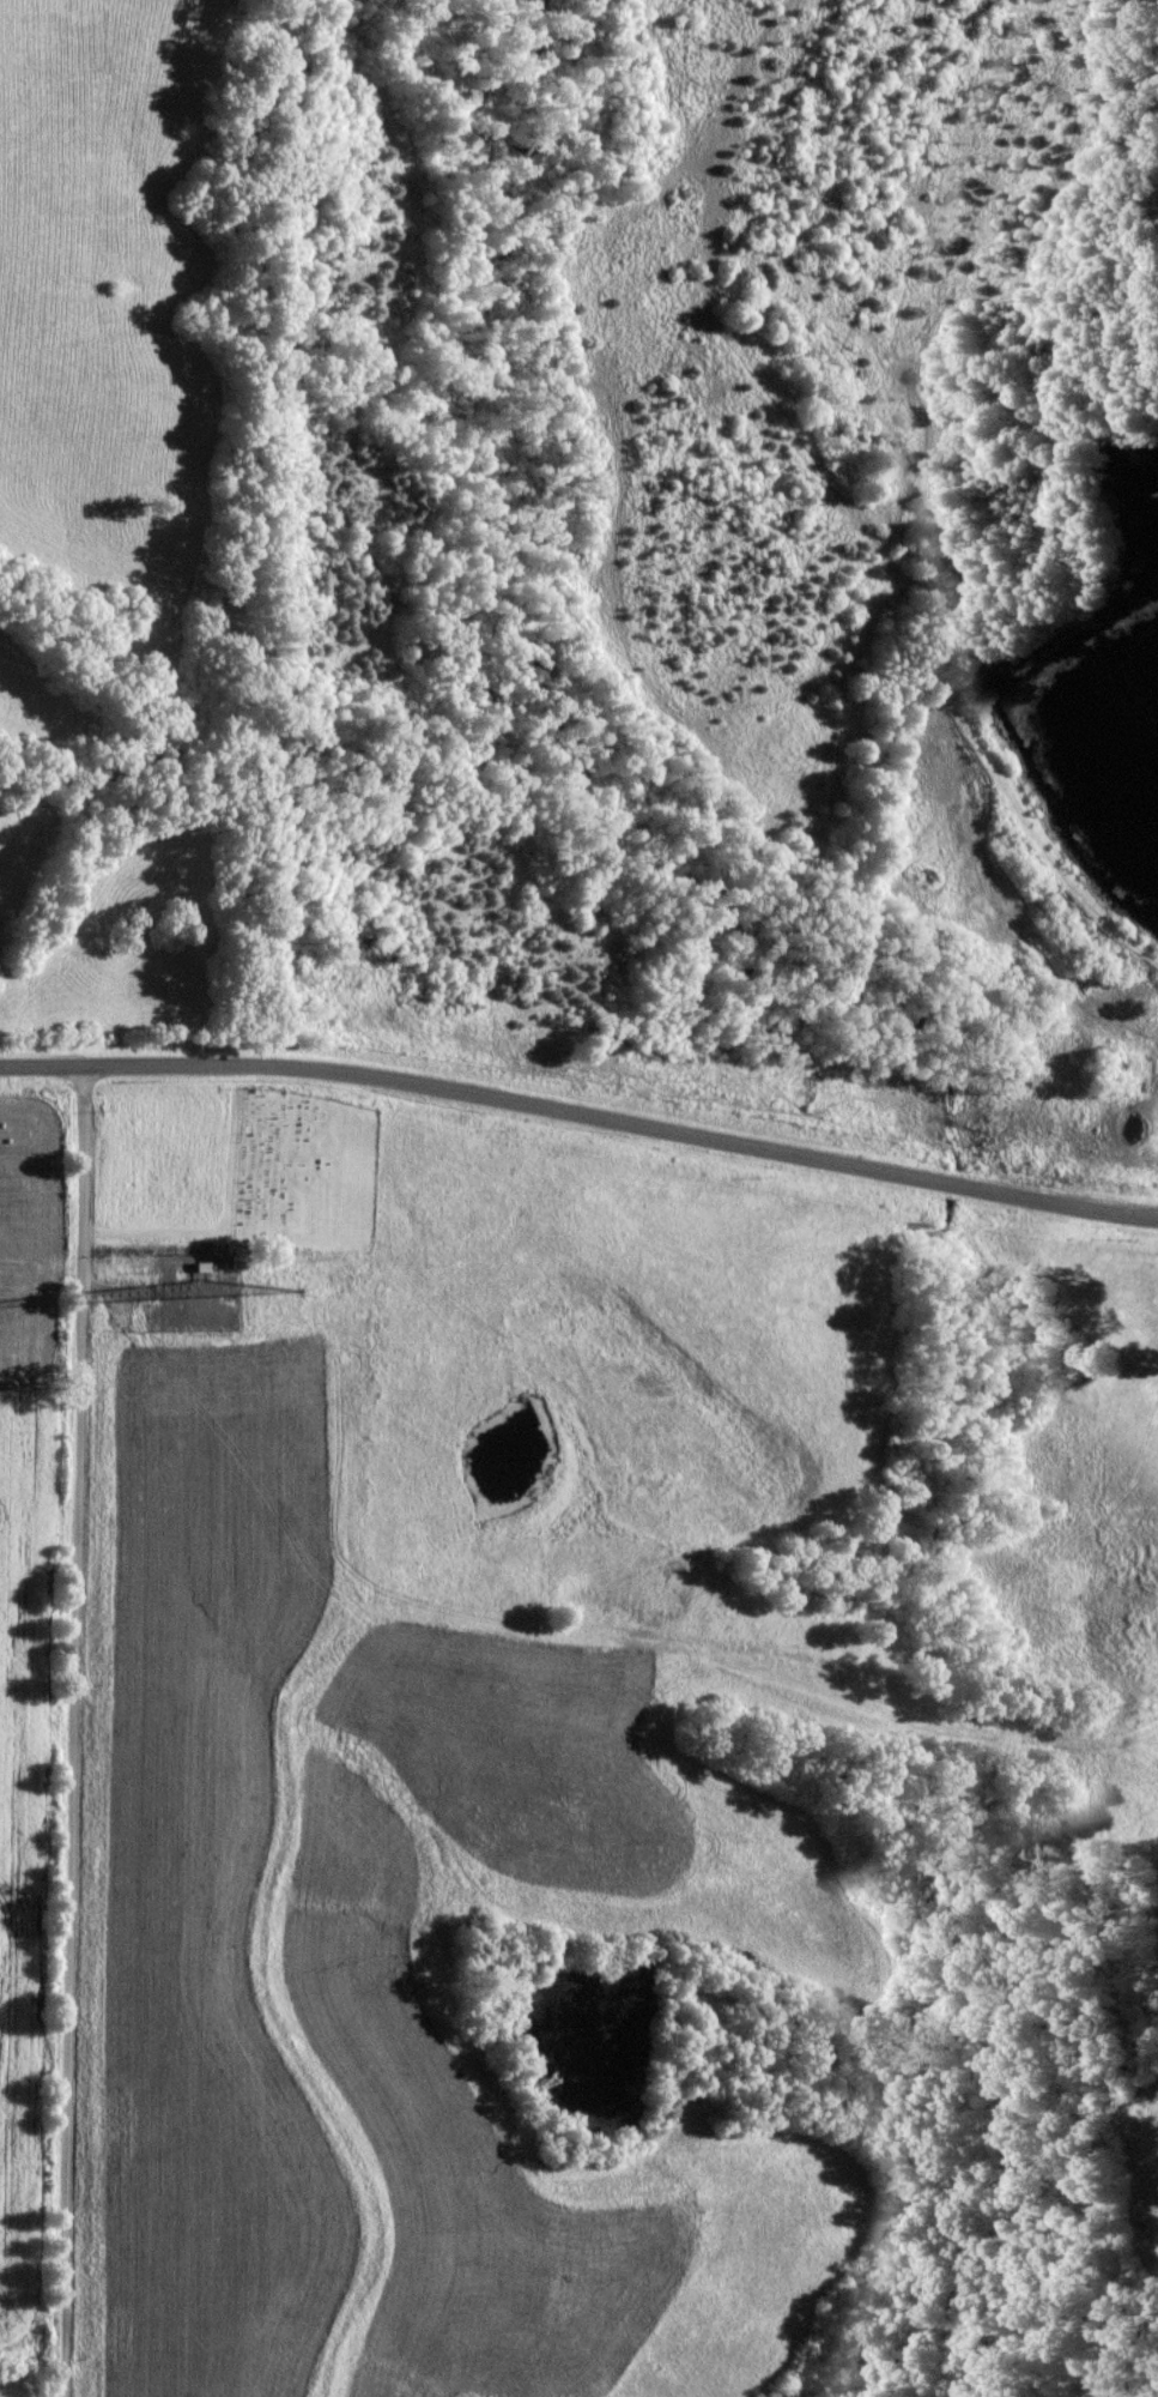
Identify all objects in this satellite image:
road: (581, 1117)
park: (308, 1169)
road: (406, 1264)
building: (657, 1459)
road: (613, 1644)
road: (73, 1732)

